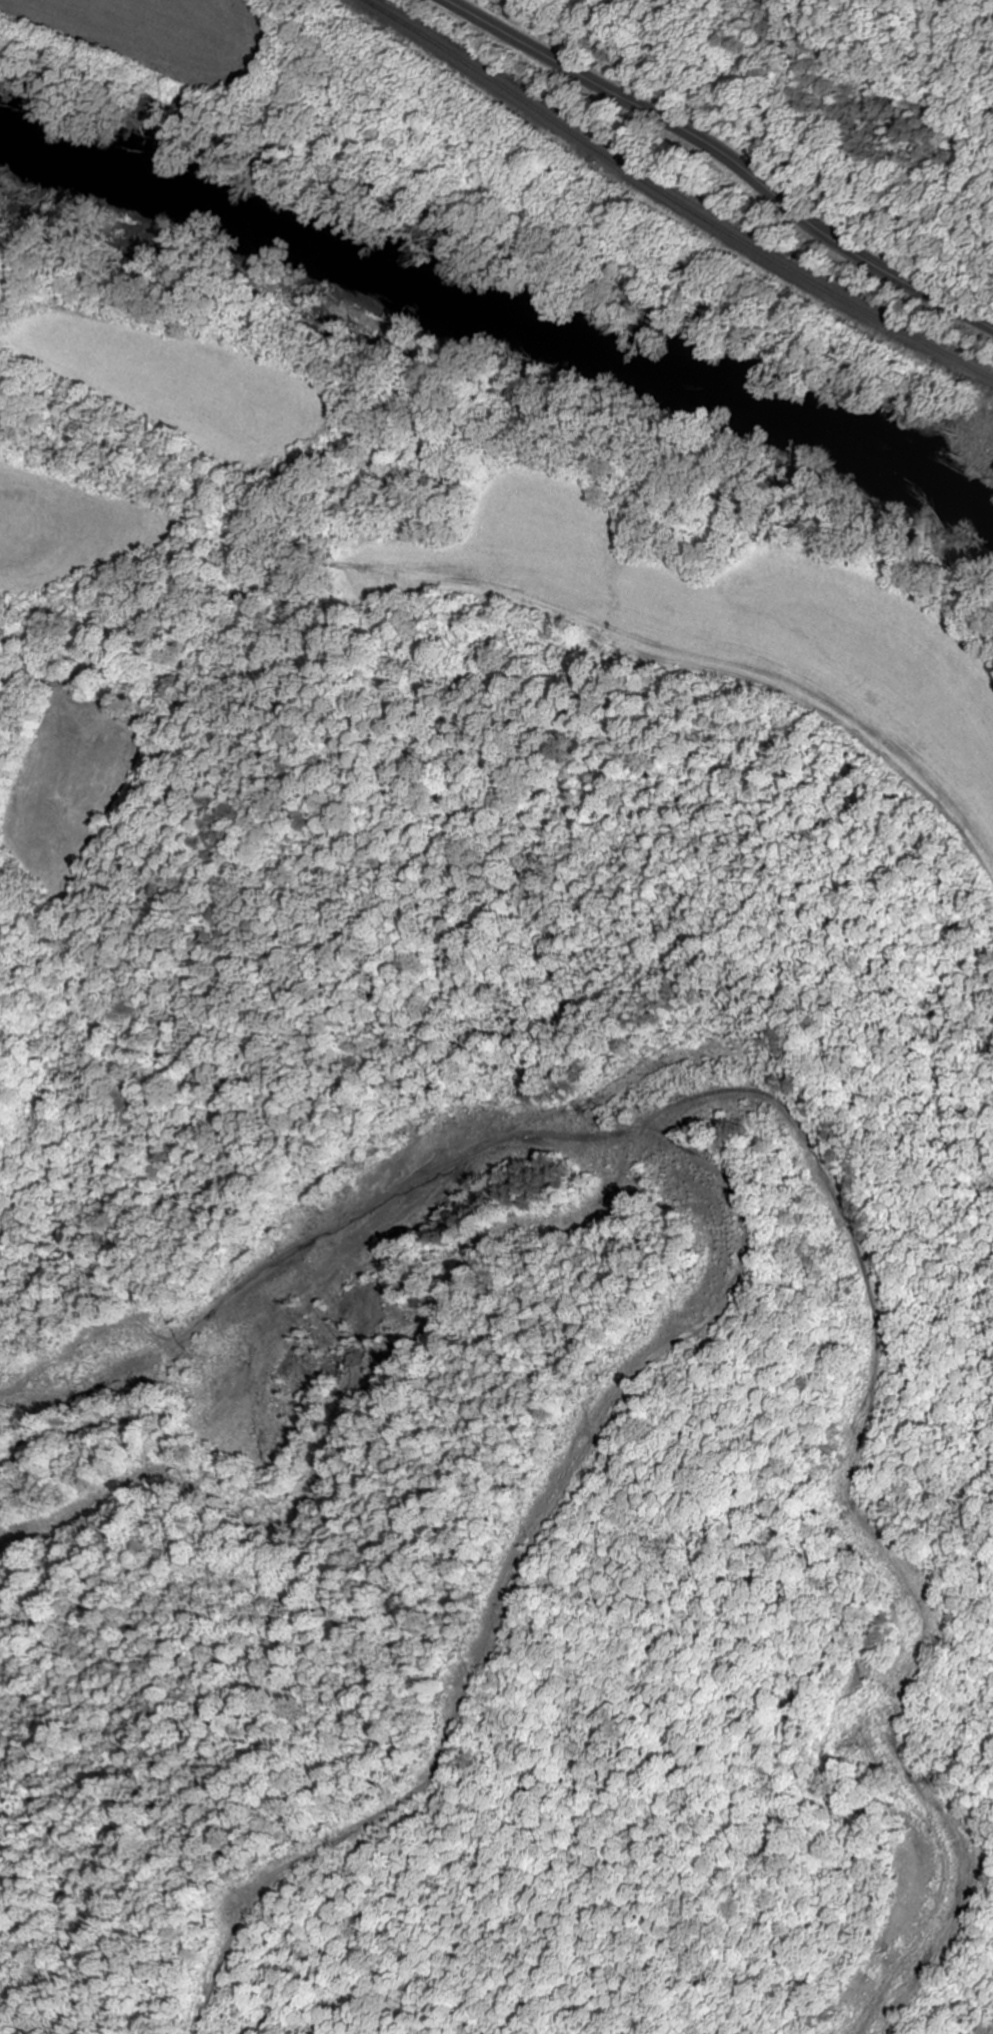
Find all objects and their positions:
road: (720, 156)
railway: (660, 221)
river: (516, 299)

